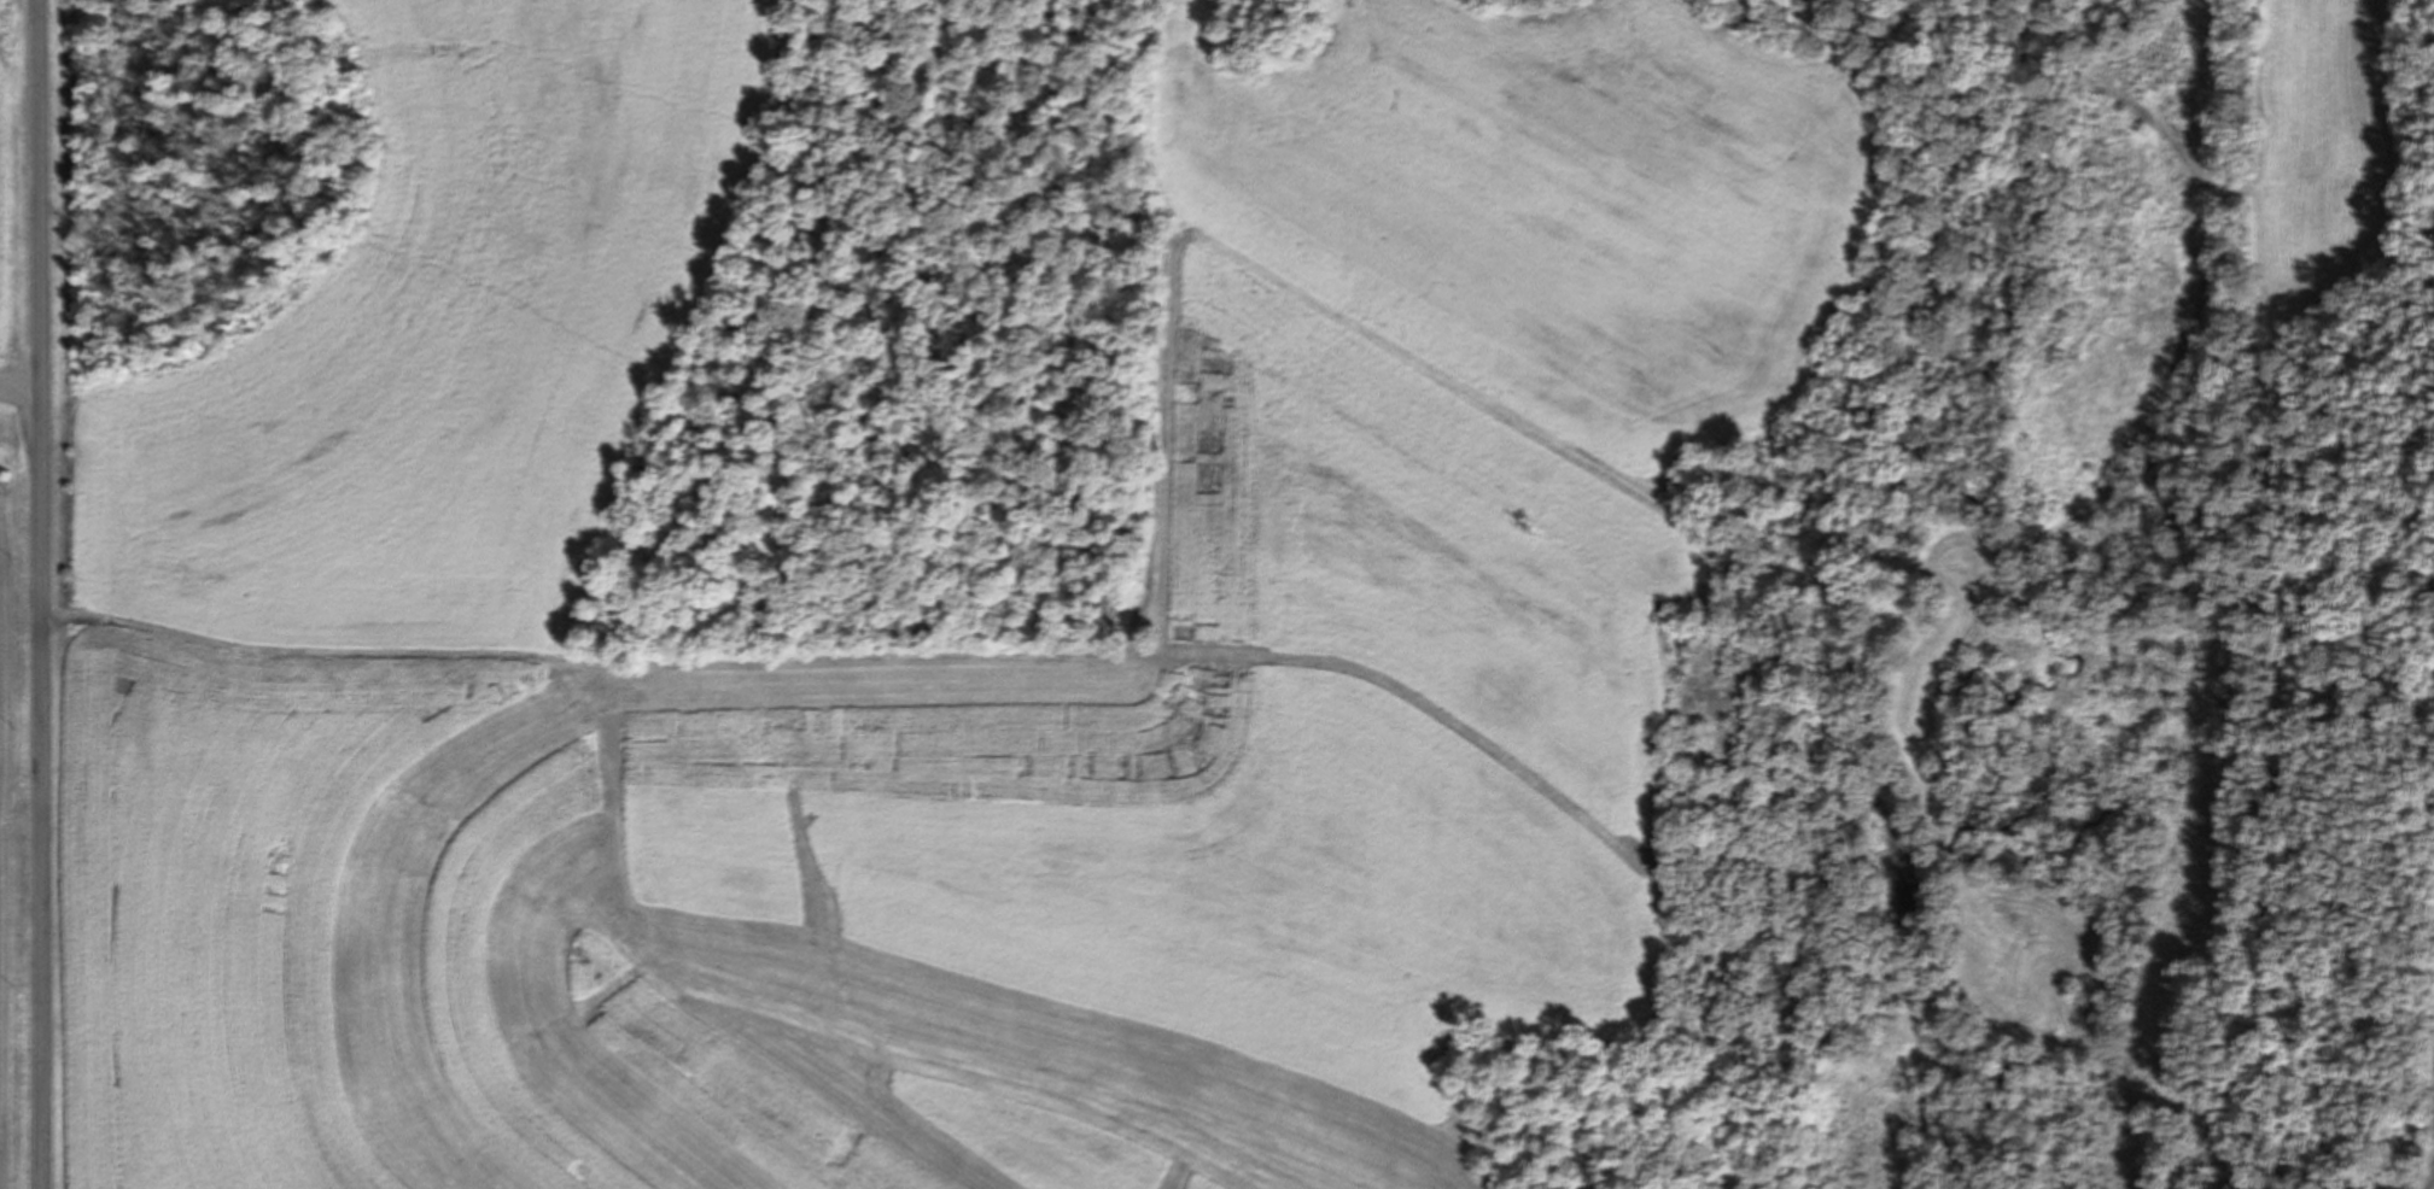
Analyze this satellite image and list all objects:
road: (17, 382)
road: (35, 594)

